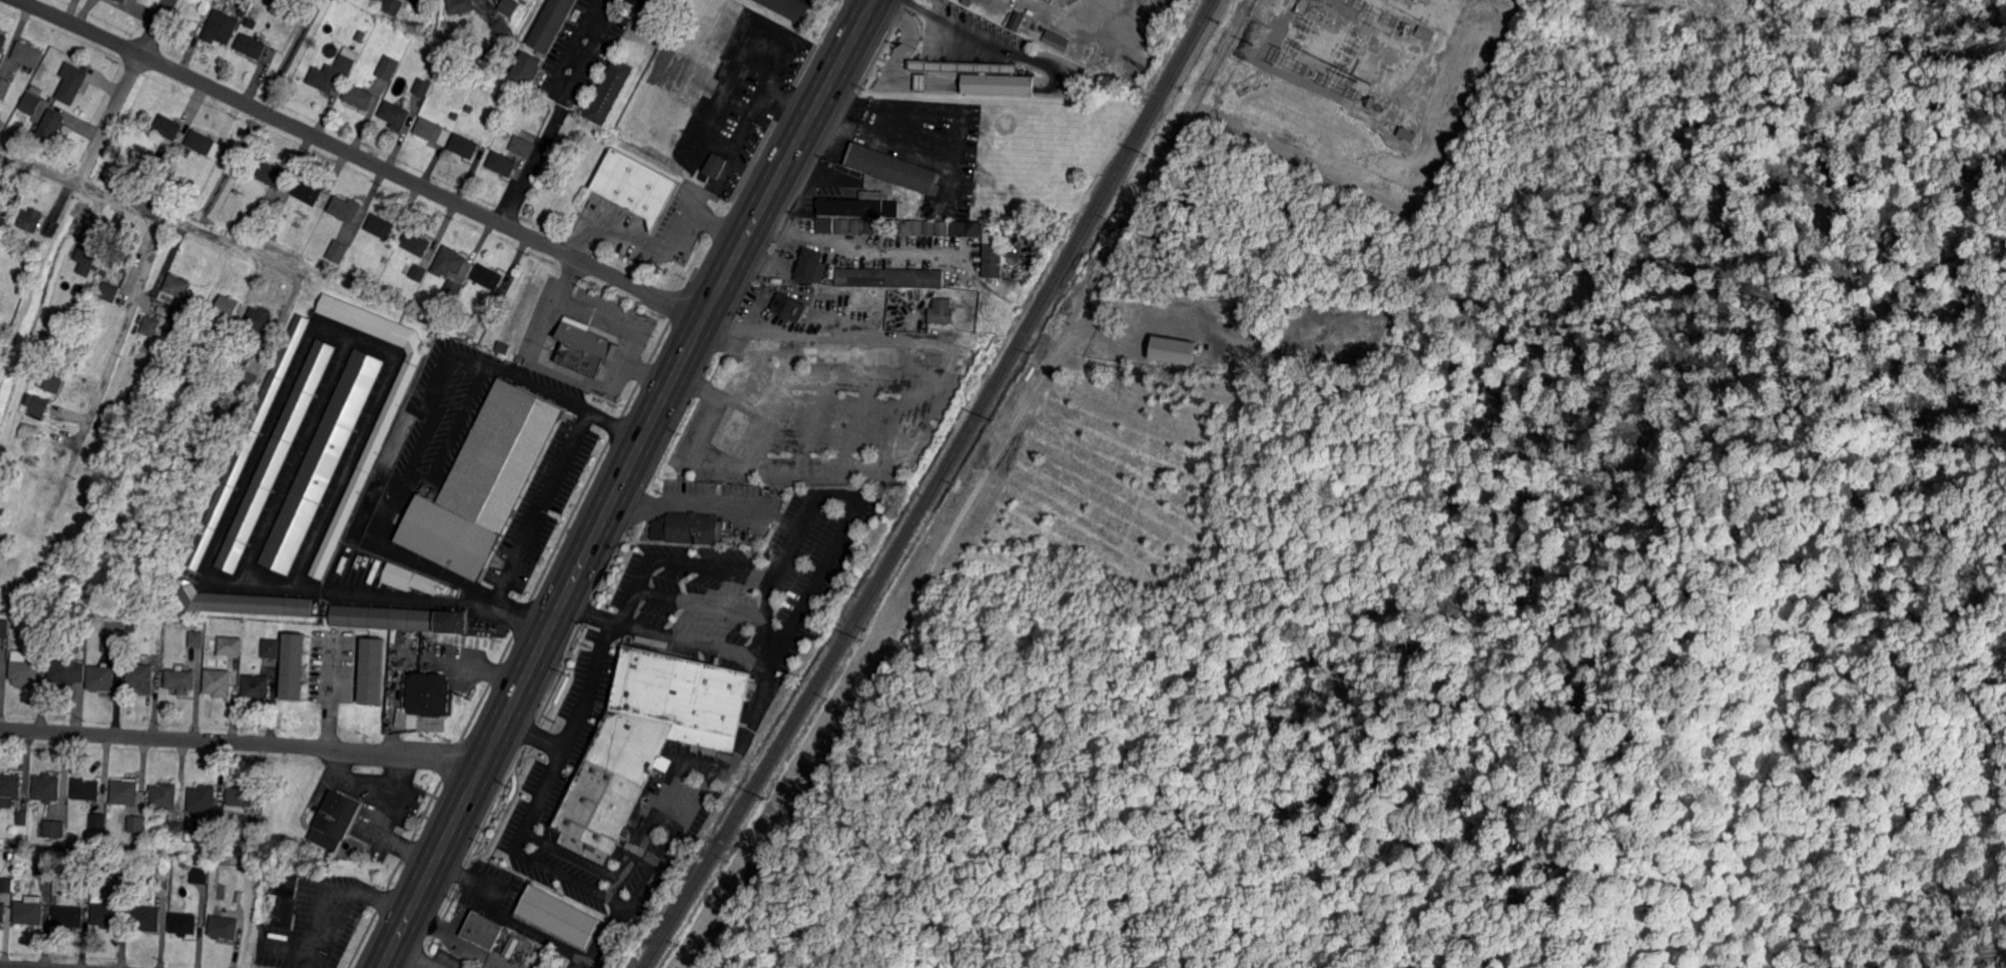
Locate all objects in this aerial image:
building: (246, 0)
building: (123, 1)
building: (524, 1)
building: (968, 2)
building: (423, 3)
building: (461, 6)
building: (394, 7)
building: (509, 7)
building: (787, 9)
building: (241, 14)
building: (1018, 20)
building: (252, 24)
building: (551, 24)
road: (963, 26)
building: (220, 27)
building: (501, 28)
building: (1423, 32)
road: (857, 33)
building: (360, 37)
building: (1055, 39)
building: (3, 41)
building: (250, 47)
building: (27, 55)
building: (492, 59)
building: (430, 67)
building: (964, 67)
building: (387, 68)
building: (527, 69)
building: (332, 72)
building: (467, 73)
building: (922, 83)
building: (73, 84)
power substation: (1358, 85)
building: (1003, 86)
building: (5, 87)
building: (422, 87)
road: (124, 89)
building: (37, 90)
building: (610, 91)
building: (359, 96)
building: (30, 104)
road: (751, 106)
building: (468, 109)
road: (558, 112)
building: (394, 116)
building: (456, 116)
building: (169, 126)
building: (50, 129)
building: (433, 131)
building: (201, 142)
building: (464, 145)
building: (523, 146)
building: (185, 152)
building: (167, 155)
road: (362, 158)
building: (502, 163)
building: (712, 167)
building: (892, 168)
building: (274, 177)
building: (634, 186)
building: (307, 191)
building: (1, 204)
building: (863, 206)
building: (266, 209)
building: (344, 209)
road: (153, 210)
building: (30, 220)
building: (257, 220)
building: (3, 225)
building: (825, 225)
building: (380, 226)
building: (844, 226)
building: (858, 226)
building: (874, 226)
building: (891, 226)
building: (905, 227)
building: (918, 227)
building: (930, 228)
building: (943, 228)
building: (967, 228)
building: (415, 243)
building: (36, 246)
road: (659, 249)
building: (339, 251)
building: (992, 251)
building: (88, 259)
building: (120, 260)
building: (448, 263)
building: (809, 266)
building: (419, 272)
building: (488, 277)
building: (890, 278)
building: (177, 286)
building: (452, 289)
building: (109, 292)
building: (490, 306)
building: (790, 307)
building: (227, 310)
building: (941, 312)
building: (178, 315)
road: (128, 319)
building: (260, 319)
road: (612, 323)
building: (151, 326)
building: (502, 348)
building: (196, 350)
building: (585, 350)
building: (1174, 350)
building: (52, 378)
building: (250, 380)
building: (234, 389)
building: (29, 400)
road: (661, 404)
building: (39, 408)
building: (31, 432)
building: (247, 443)
building: (275, 456)
building: (320, 463)
building: (365, 465)
building: (483, 482)
railway: (934, 487)
road: (709, 504)
road: (538, 505)
building: (693, 529)
road: (677, 563)
building: (409, 579)
road: (817, 581)
building: (241, 603)
road: (591, 610)
building: (397, 619)
building: (133, 624)
building: (69, 627)
building: (4, 628)
building: (197, 639)
building: (114, 643)
building: (231, 645)
building: (272, 648)
road: (414, 651)
building: (294, 666)
building: (24, 667)
building: (0, 669)
building: (372, 671)
building: (63, 674)
building: (141, 676)
building: (102, 678)
building: (181, 680)
building: (218, 682)
building: (257, 687)
building: (430, 701)
parking lot: (672, 702)
road: (536, 731)
road: (571, 735)
building: (648, 735)
road: (243, 743)
road: (353, 775)
building: (10, 785)
building: (47, 788)
road: (471, 788)
building: (86, 789)
building: (125, 791)
building: (244, 795)
building: (164, 796)
building: (203, 799)
building: (160, 815)
building: (194, 816)
building: (23, 817)
building: (98, 821)
building: (334, 821)
road: (376, 823)
building: (137, 824)
building: (50, 829)
building: (216, 829)
building: (175, 830)
building: (251, 834)
building: (140, 836)
building: (140, 843)
building: (45, 865)
building: (110, 871)
building: (123, 871)
building: (200, 875)
building: (8, 884)
building: (88, 884)
building: (19, 885)
building: (239, 897)
road: (332, 897)
road: (417, 898)
building: (287, 901)
road: (635, 902)
building: (2, 909)
building: (30, 910)
building: (108, 915)
road: (508, 915)
building: (69, 916)
building: (558, 916)
building: (147, 917)
building: (184, 923)
building: (223, 927)
building: (483, 929)
road: (602, 938)
building: (511, 943)
road: (423, 955)
road: (13, 967)

